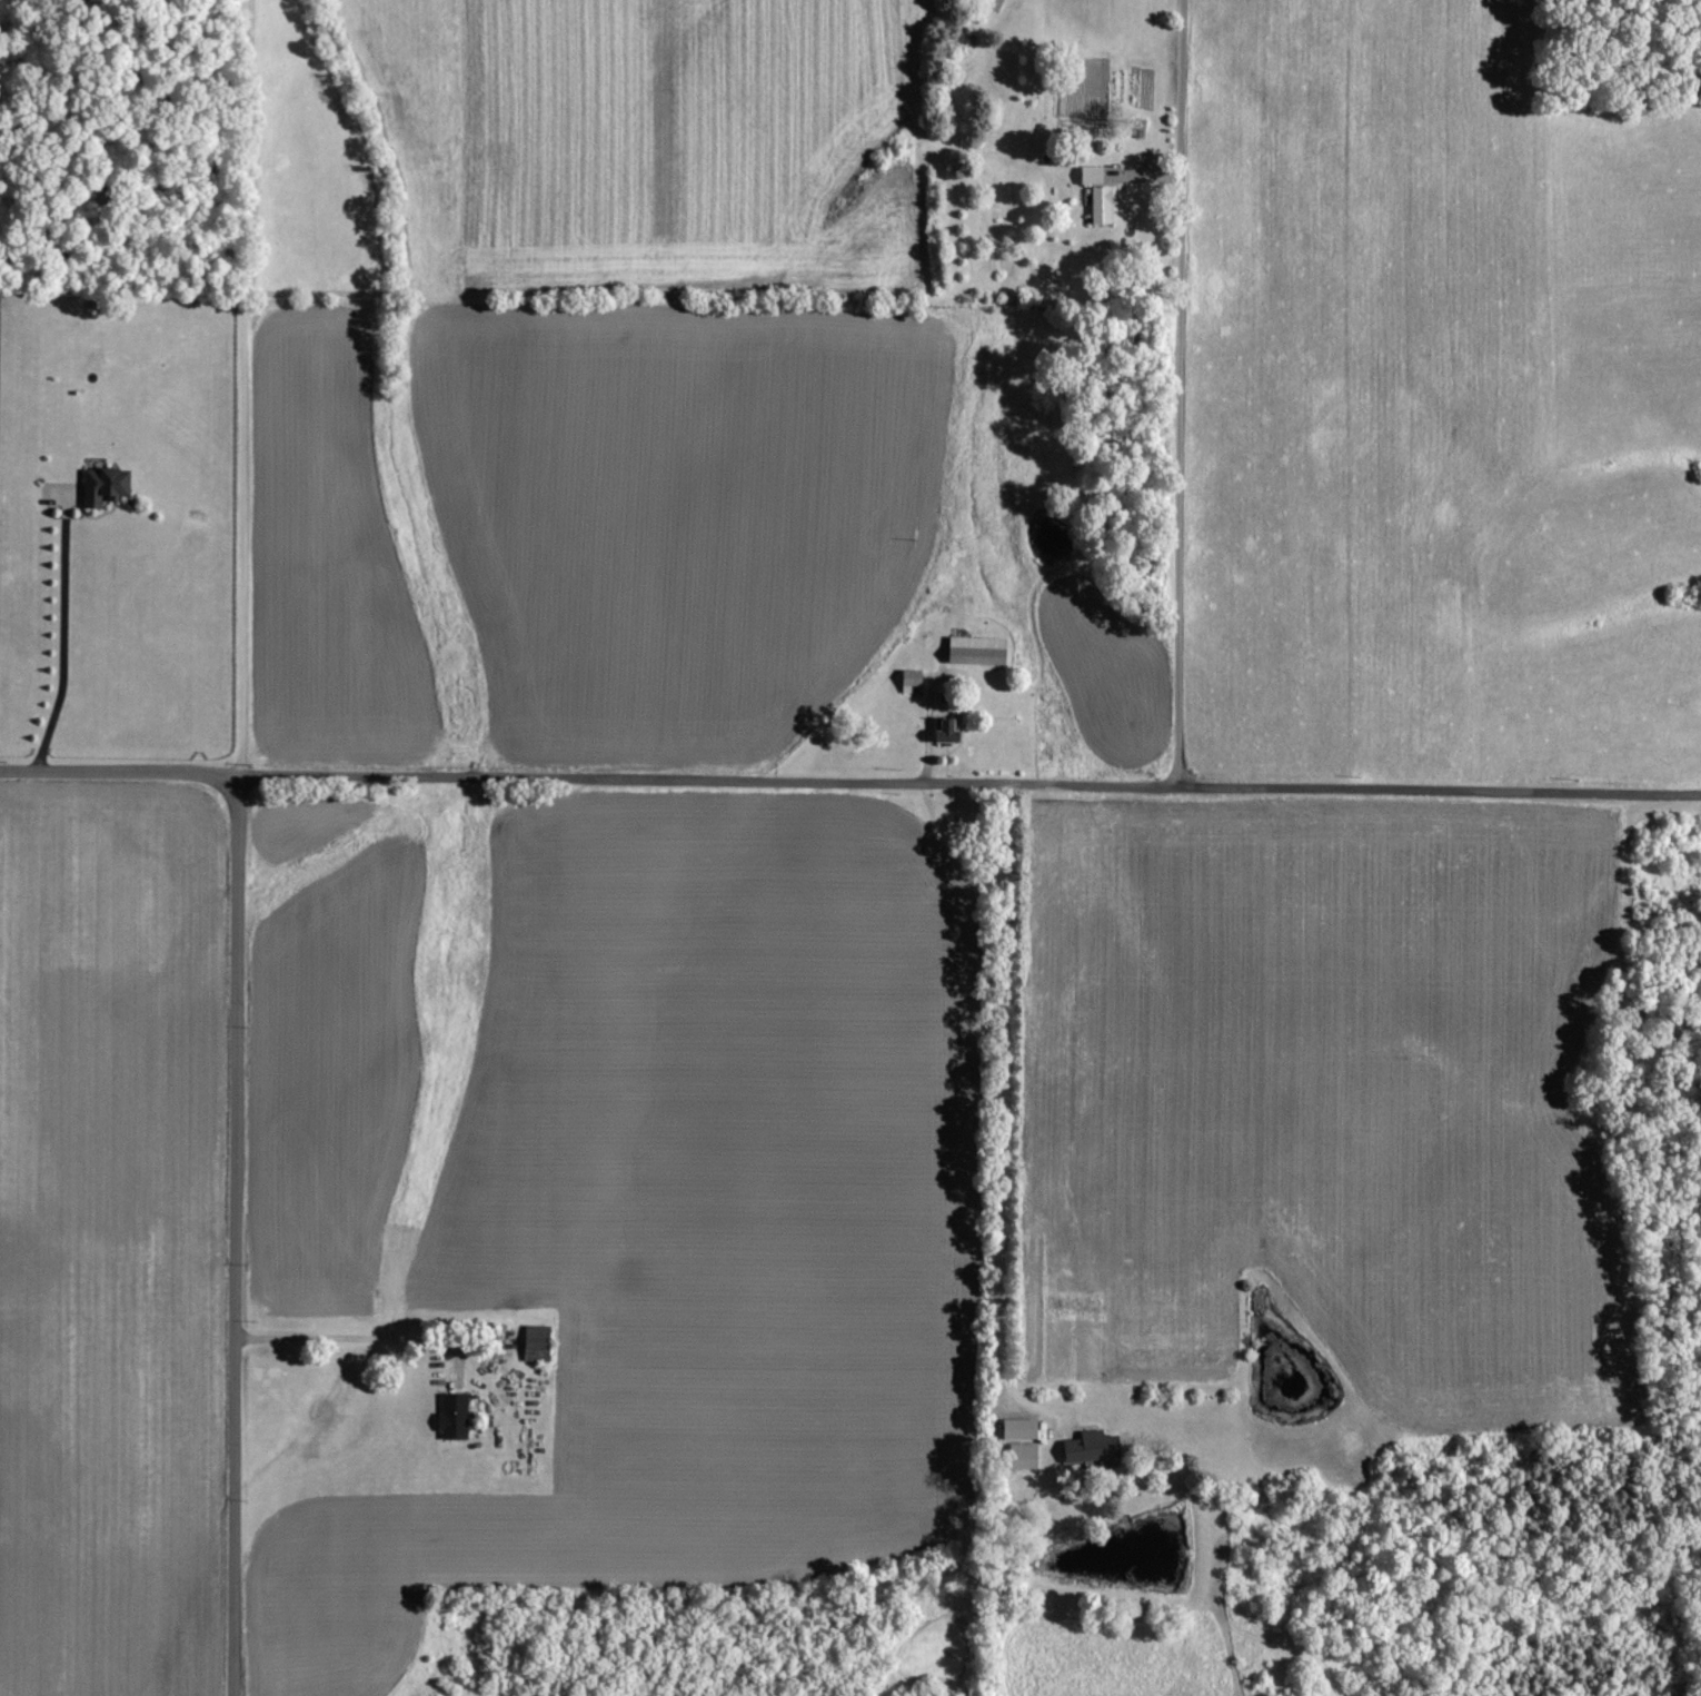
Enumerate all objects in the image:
building: (1103, 194)
road: (249, 389)
road: (1182, 393)
building: (112, 485)
road: (61, 635)
building: (985, 651)
road: (928, 725)
building: (952, 731)
road: (120, 777)
road: (709, 780)
road: (1439, 792)
road: (232, 1238)
road: (351, 1339)
building: (543, 1342)
building: (458, 1417)
building: (1026, 1429)
building: (1097, 1448)
building: (1028, 1456)

